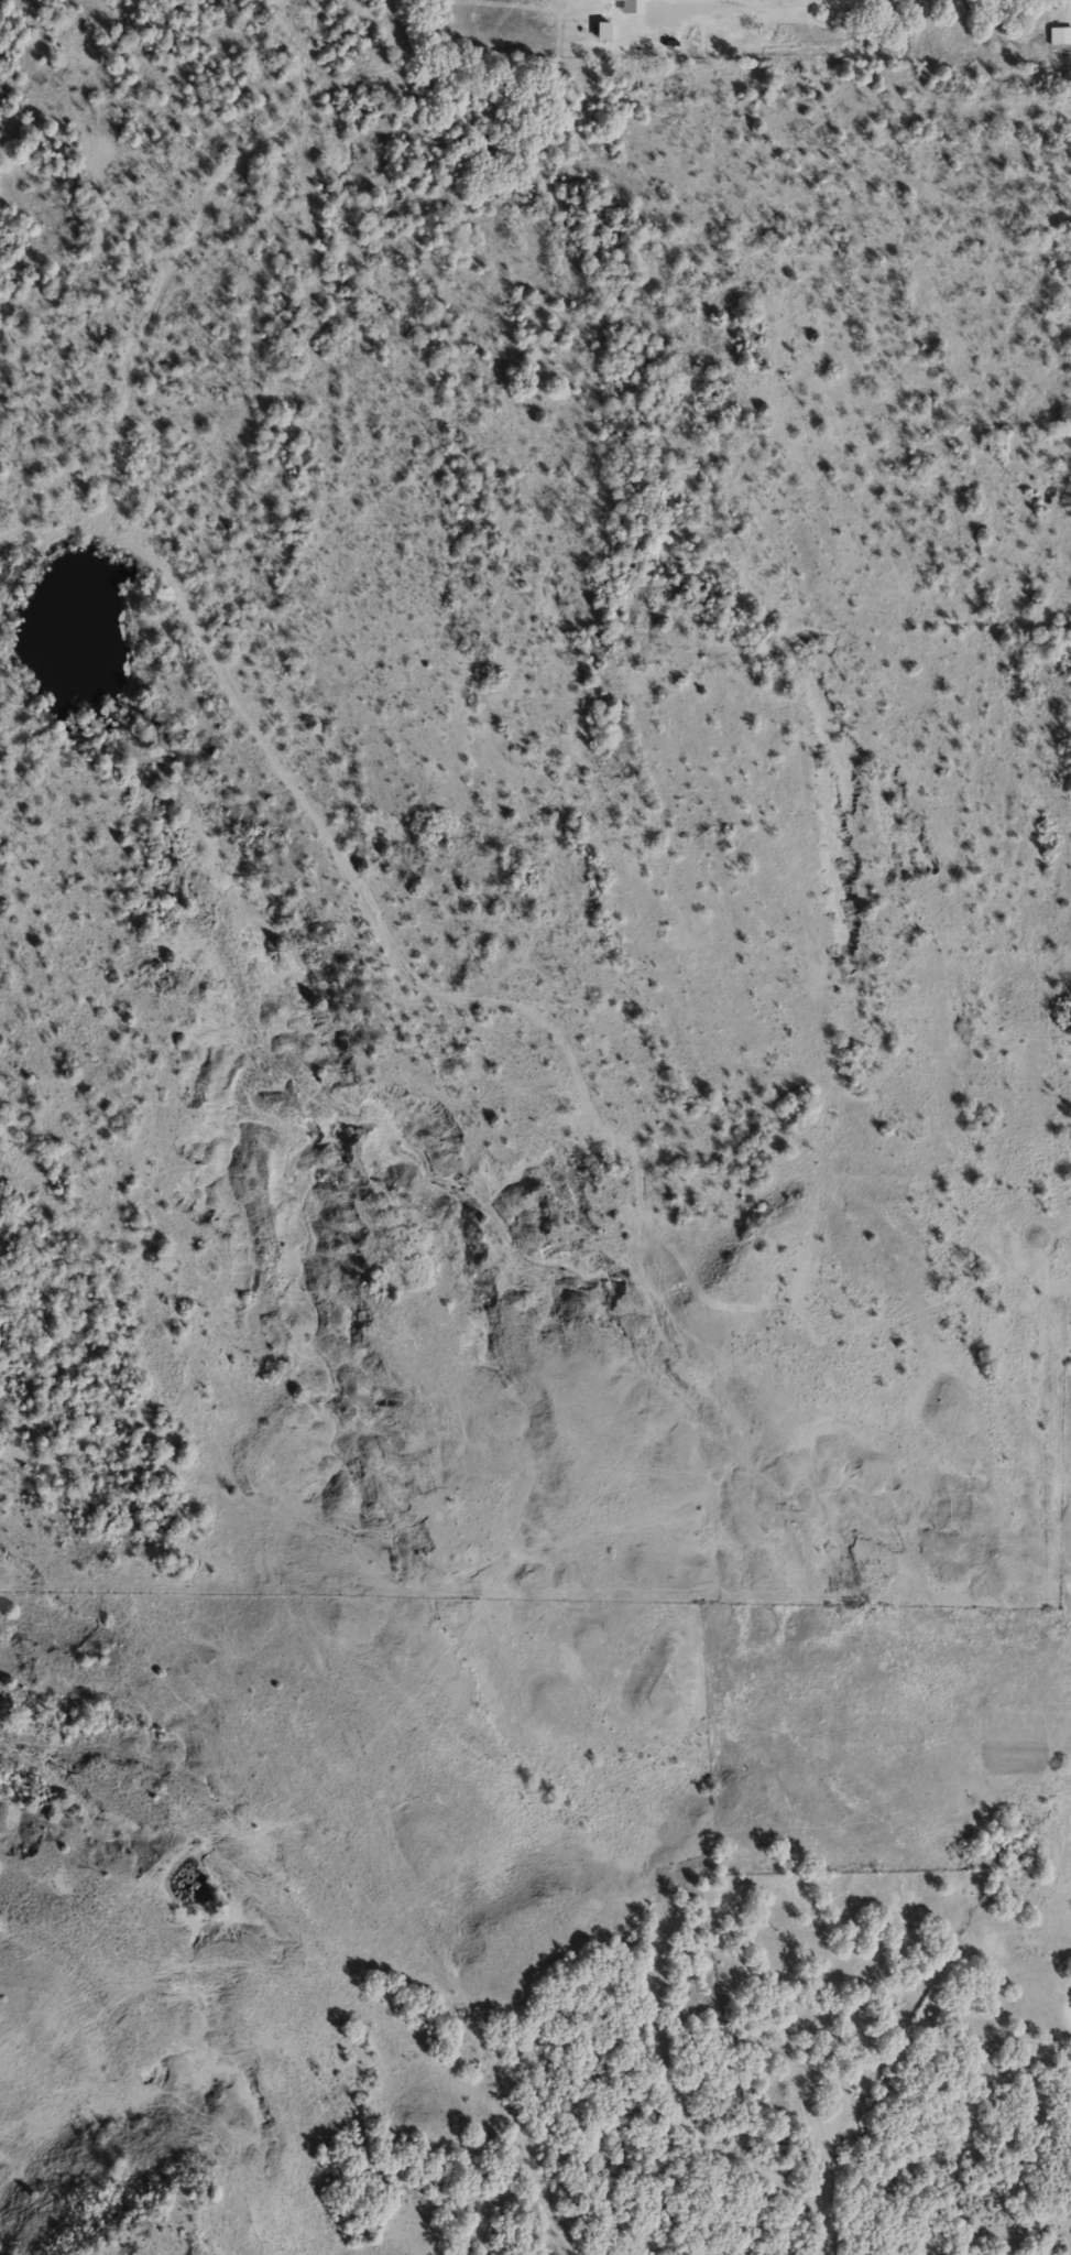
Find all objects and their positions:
building: (1059, 35)
park: (834, 1958)
road: (821, 2088)
road: (824, 2196)

